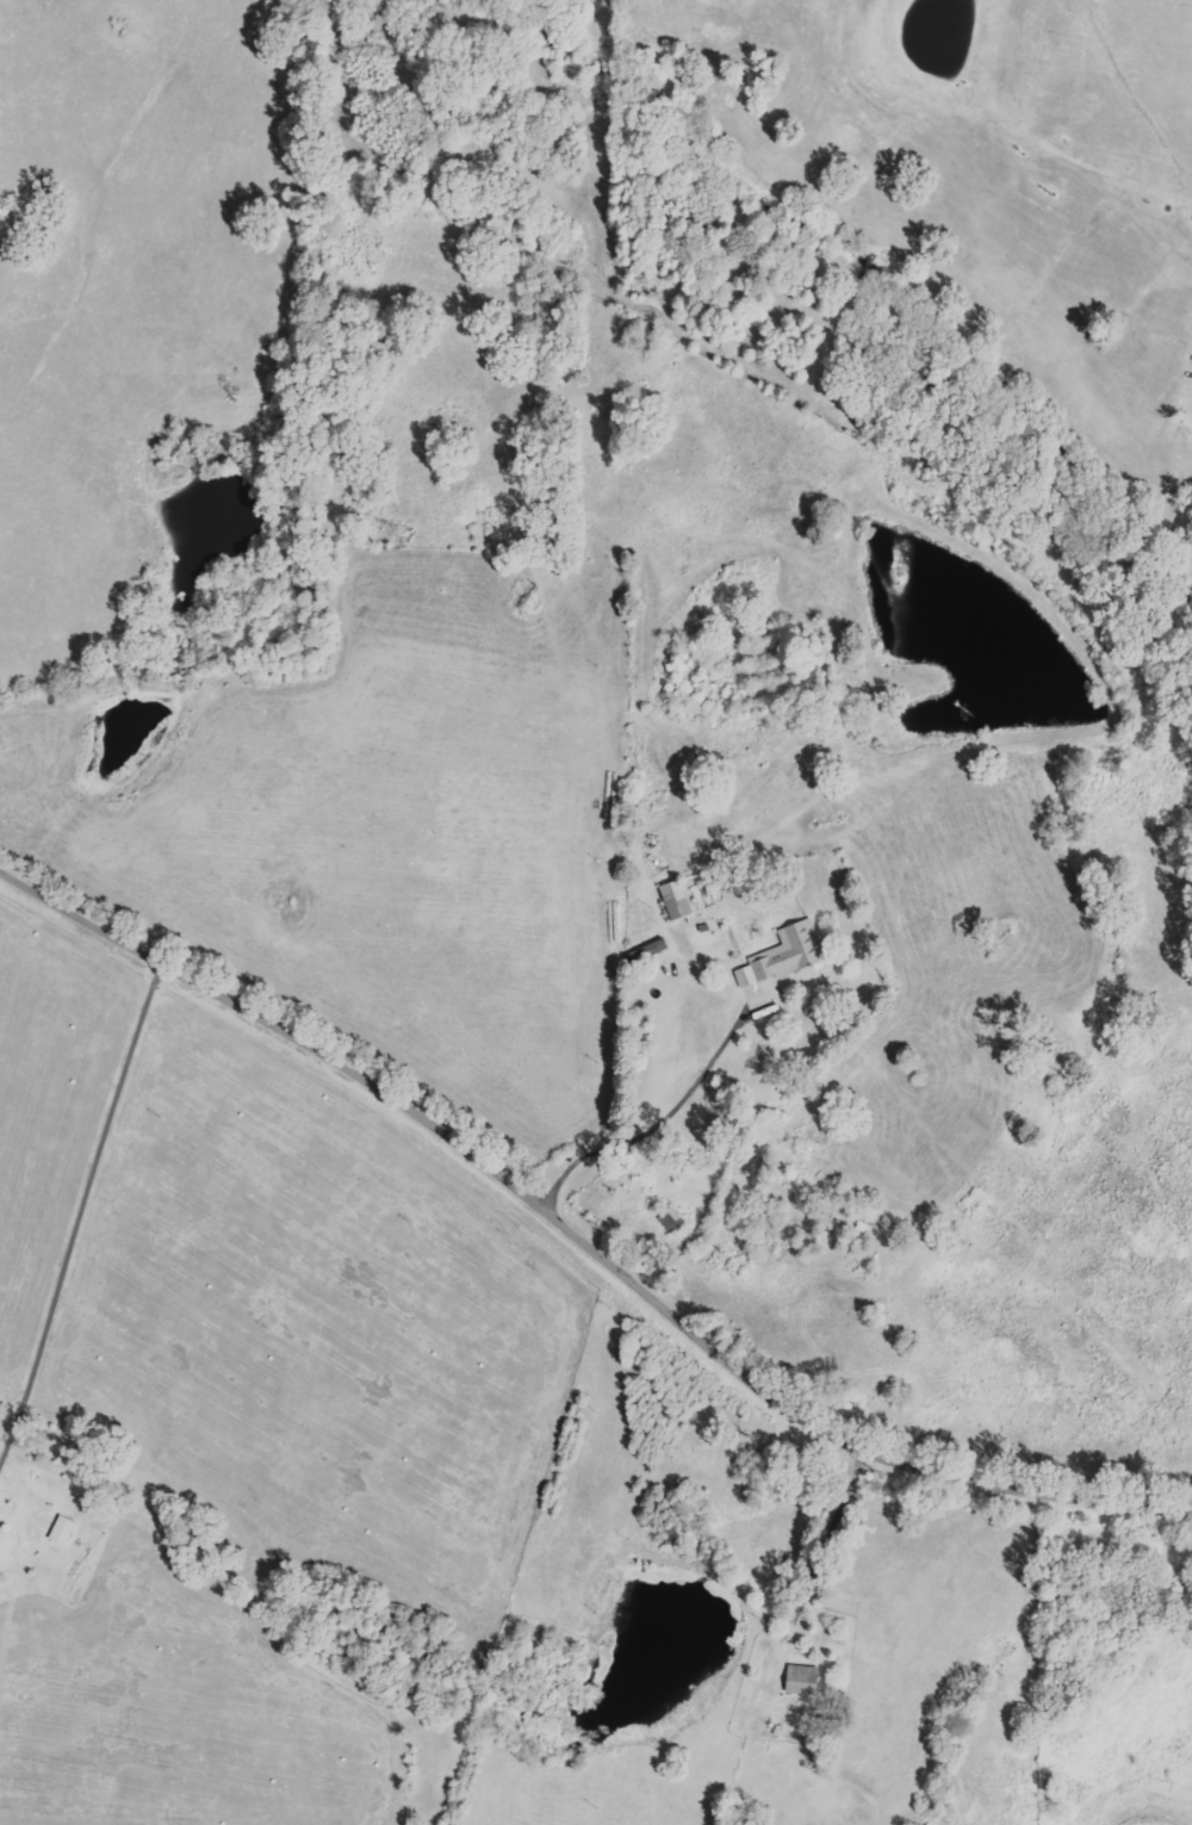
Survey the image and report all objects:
building: (673, 901)
building: (782, 956)
road: (666, 1124)
road: (83, 1215)
road: (584, 1240)
building: (60, 1531)
road: (814, 1562)
building: (800, 1680)

